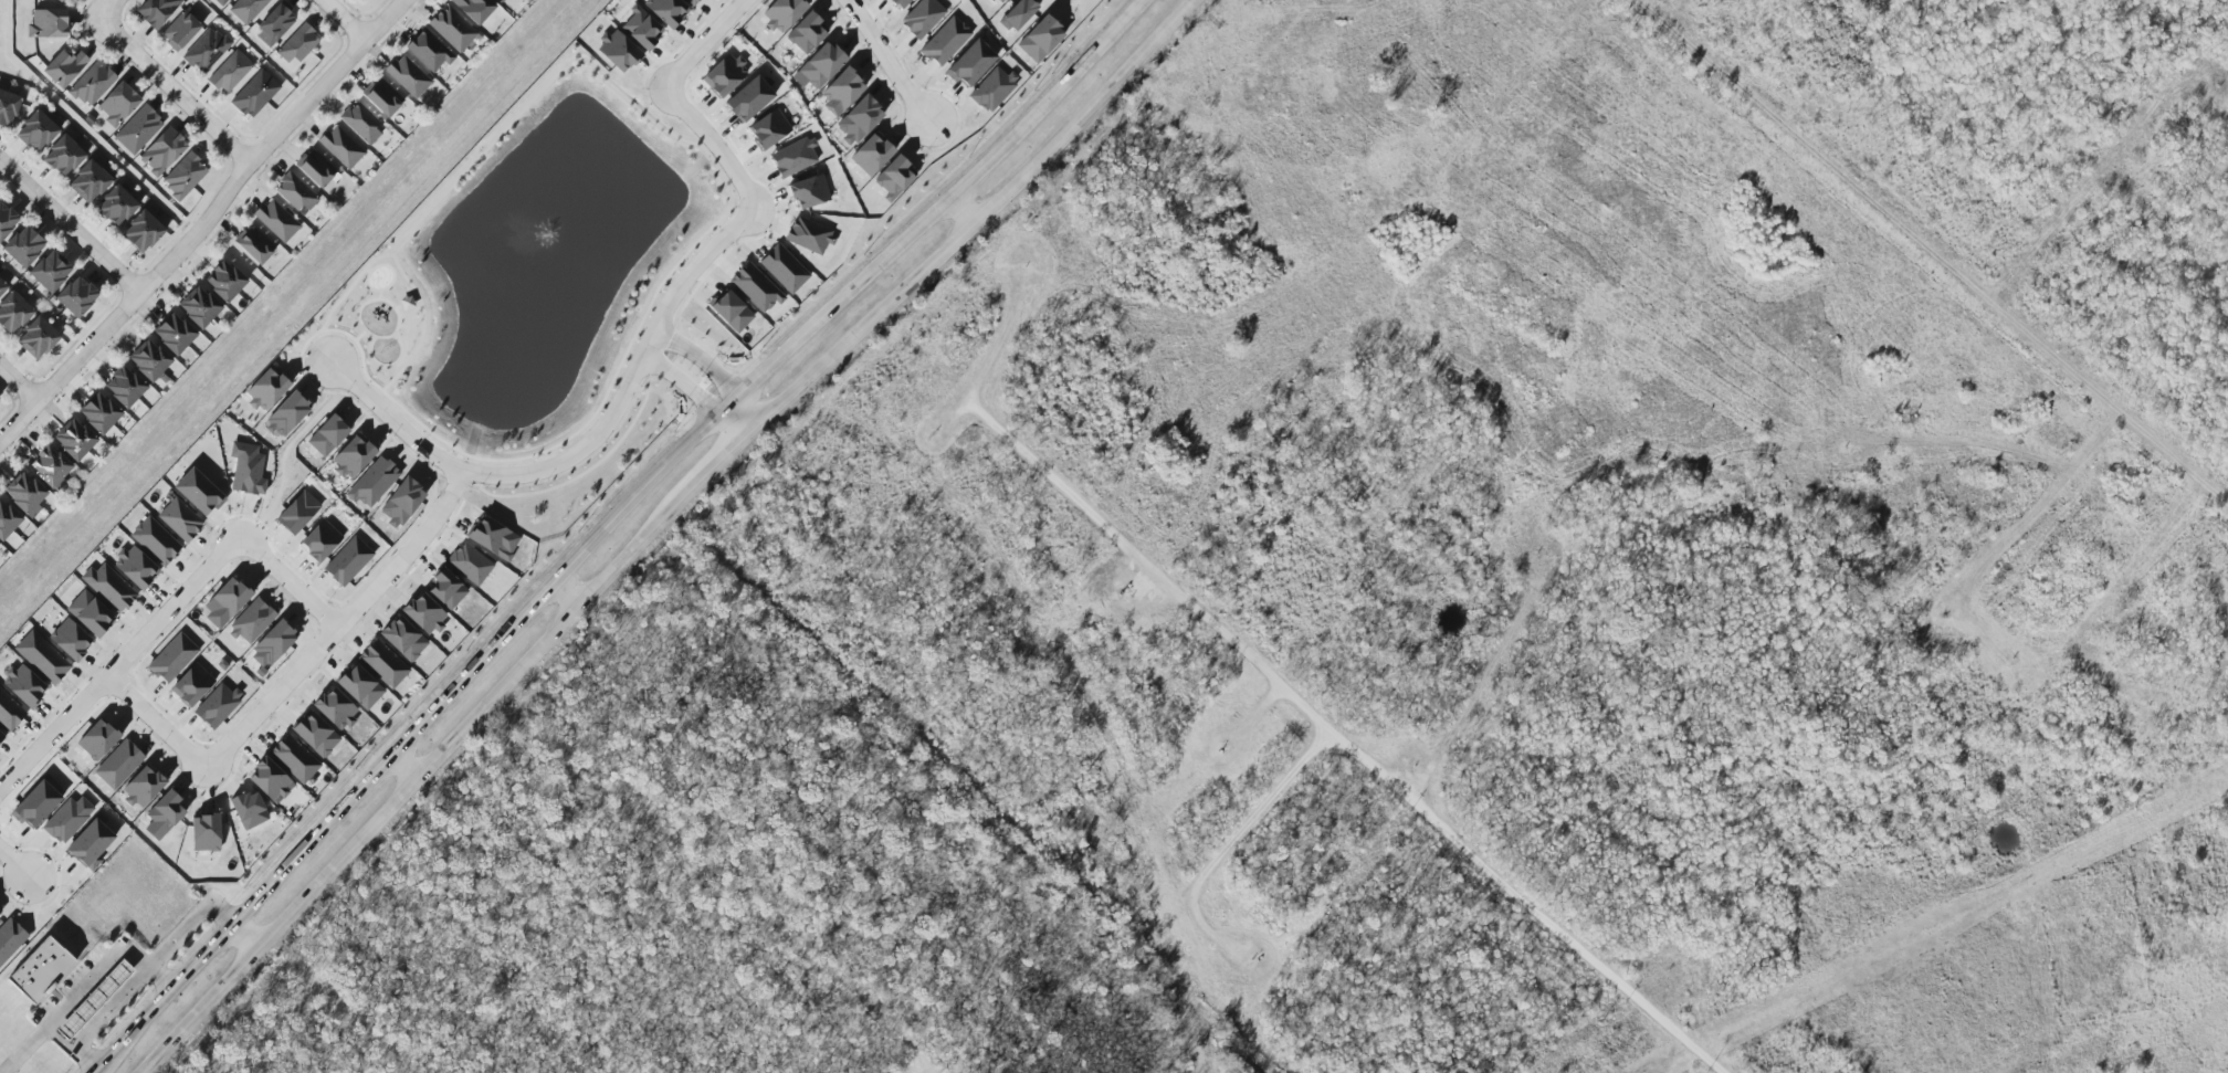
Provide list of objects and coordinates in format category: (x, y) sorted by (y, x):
building: (60, 1)
building: (498, 1)
building: (999, 1)
building: (220, 2)
building: (692, 2)
building: (900, 3)
road: (1068, 3)
road: (106, 9)
building: (246, 9)
building: (474, 9)
building: (666, 10)
building: (157, 11)
building: (782, 13)
building: (1018, 14)
building: (922, 18)
road: (345, 19)
building: (276, 21)
building: (46, 23)
building: (641, 28)
building: (452, 29)
building: (180, 31)
building: (806, 33)
building: (1040, 39)
building: (944, 41)
building: (297, 44)
road: (682, 44)
road: (702, 44)
building: (206, 50)
building: (429, 51)
building: (618, 51)
road: (886, 61)
building: (970, 63)
building: (822, 64)
building: (64, 67)
building: (230, 72)
building: (724, 75)
building: (408, 76)
building: (91, 84)
building: (842, 88)
building: (992, 88)
road: (174, 91)
building: (254, 94)
building: (381, 97)
building: (1, 98)
building: (749, 98)
building: (118, 104)
building: (9, 109)
building: (859, 120)
building: (360, 123)
building: (31, 126)
building: (138, 129)
building: (768, 129)
building: (42, 137)
road: (713, 145)
building: (340, 147)
building: (57, 149)
road: (939, 149)
building: (162, 151)
building: (872, 155)
building: (794, 157)
road: (477, 159)
building: (69, 160)
building: (314, 168)
road: (753, 175)
building: (84, 176)
building: (183, 176)
building: (893, 178)
building: (95, 186)
building: (808, 191)
building: (295, 192)
building: (111, 200)
road: (958, 209)
building: (2, 210)
building: (122, 211)
building: (276, 220)
building: (6, 223)
road: (203, 223)
building: (136, 225)
road: (70, 227)
building: (809, 235)
building: (147, 236)
building: (18, 241)
building: (254, 245)
building: (29, 251)
road: (1932, 251)
building: (43, 266)
building: (784, 269)
building: (54, 276)
building: (230, 276)
road: (391, 282)
building: (2, 287)
building: (219, 287)
road: (351, 287)
building: (755, 287)
building: (71, 292)
road: (379, 295)
road: (416, 301)
building: (82, 302)
building: (203, 302)
building: (407, 304)
road: (407, 304)
building: (8, 305)
road: (398, 307)
building: (729, 312)
building: (192, 313)
road: (396, 313)
building: (15, 318)
building: (179, 329)
building: (32, 332)
building: (168, 339)
building: (43, 343)
road: (642, 353)
building: (155, 355)
road: (991, 357)
road: (386, 365)
building: (144, 366)
road: (713, 372)
road: (365, 375)
building: (130, 382)
road: (19, 383)
building: (266, 389)
building: (119, 393)
road: (696, 396)
building: (105, 408)
building: (286, 414)
building: (94, 419)
building: (78, 434)
building: (327, 435)
road: (412, 443)
building: (69, 445)
road: (284, 452)
building: (353, 456)
building: (55, 461)
building: (246, 470)
building: (44, 472)
building: (372, 482)
building: (30, 488)
building: (198, 493)
building: (21, 501)
building: (401, 502)
building: (297, 513)
building: (9, 516)
road: (437, 518)
building: (179, 519)
road: (606, 527)
road: (658, 528)
building: (3, 530)
building: (493, 538)
building: (320, 540)
building: (154, 541)
building: (348, 560)
building: (469, 564)
building: (136, 567)
building: (108, 587)
road: (169, 589)
building: (446, 589)
road: (564, 596)
building: (225, 602)
road: (166, 612)
building: (88, 613)
building: (424, 613)
building: (252, 621)
building: (402, 639)
building: (69, 640)
building: (272, 645)
road: (154, 646)
road: (295, 654)
building: (41, 656)
building: (172, 658)
building: (382, 664)
road: (1491, 680)
building: (23, 685)
building: (192, 685)
building: (359, 686)
road: (266, 695)
road: (287, 702)
building: (217, 705)
building: (335, 708)
building: (9, 713)
road: (258, 713)
road: (1257, 715)
building: (315, 734)
building: (1, 737)
building: (97, 739)
road: (1347, 744)
building: (294, 758)
building: (119, 765)
road: (401, 767)
building: (271, 780)
building: (143, 787)
building: (36, 804)
building: (248, 810)
building: (165, 811)
building: (67, 820)
building: (204, 832)
road: (4, 834)
building: (91, 843)
road: (1232, 852)
road: (14, 863)
road: (59, 886)
road: (187, 922)
road: (242, 937)
building: (9, 938)
building: (40, 970)
road: (85, 985)
building: (93, 1000)
road: (108, 1004)
road: (73, 1043)

